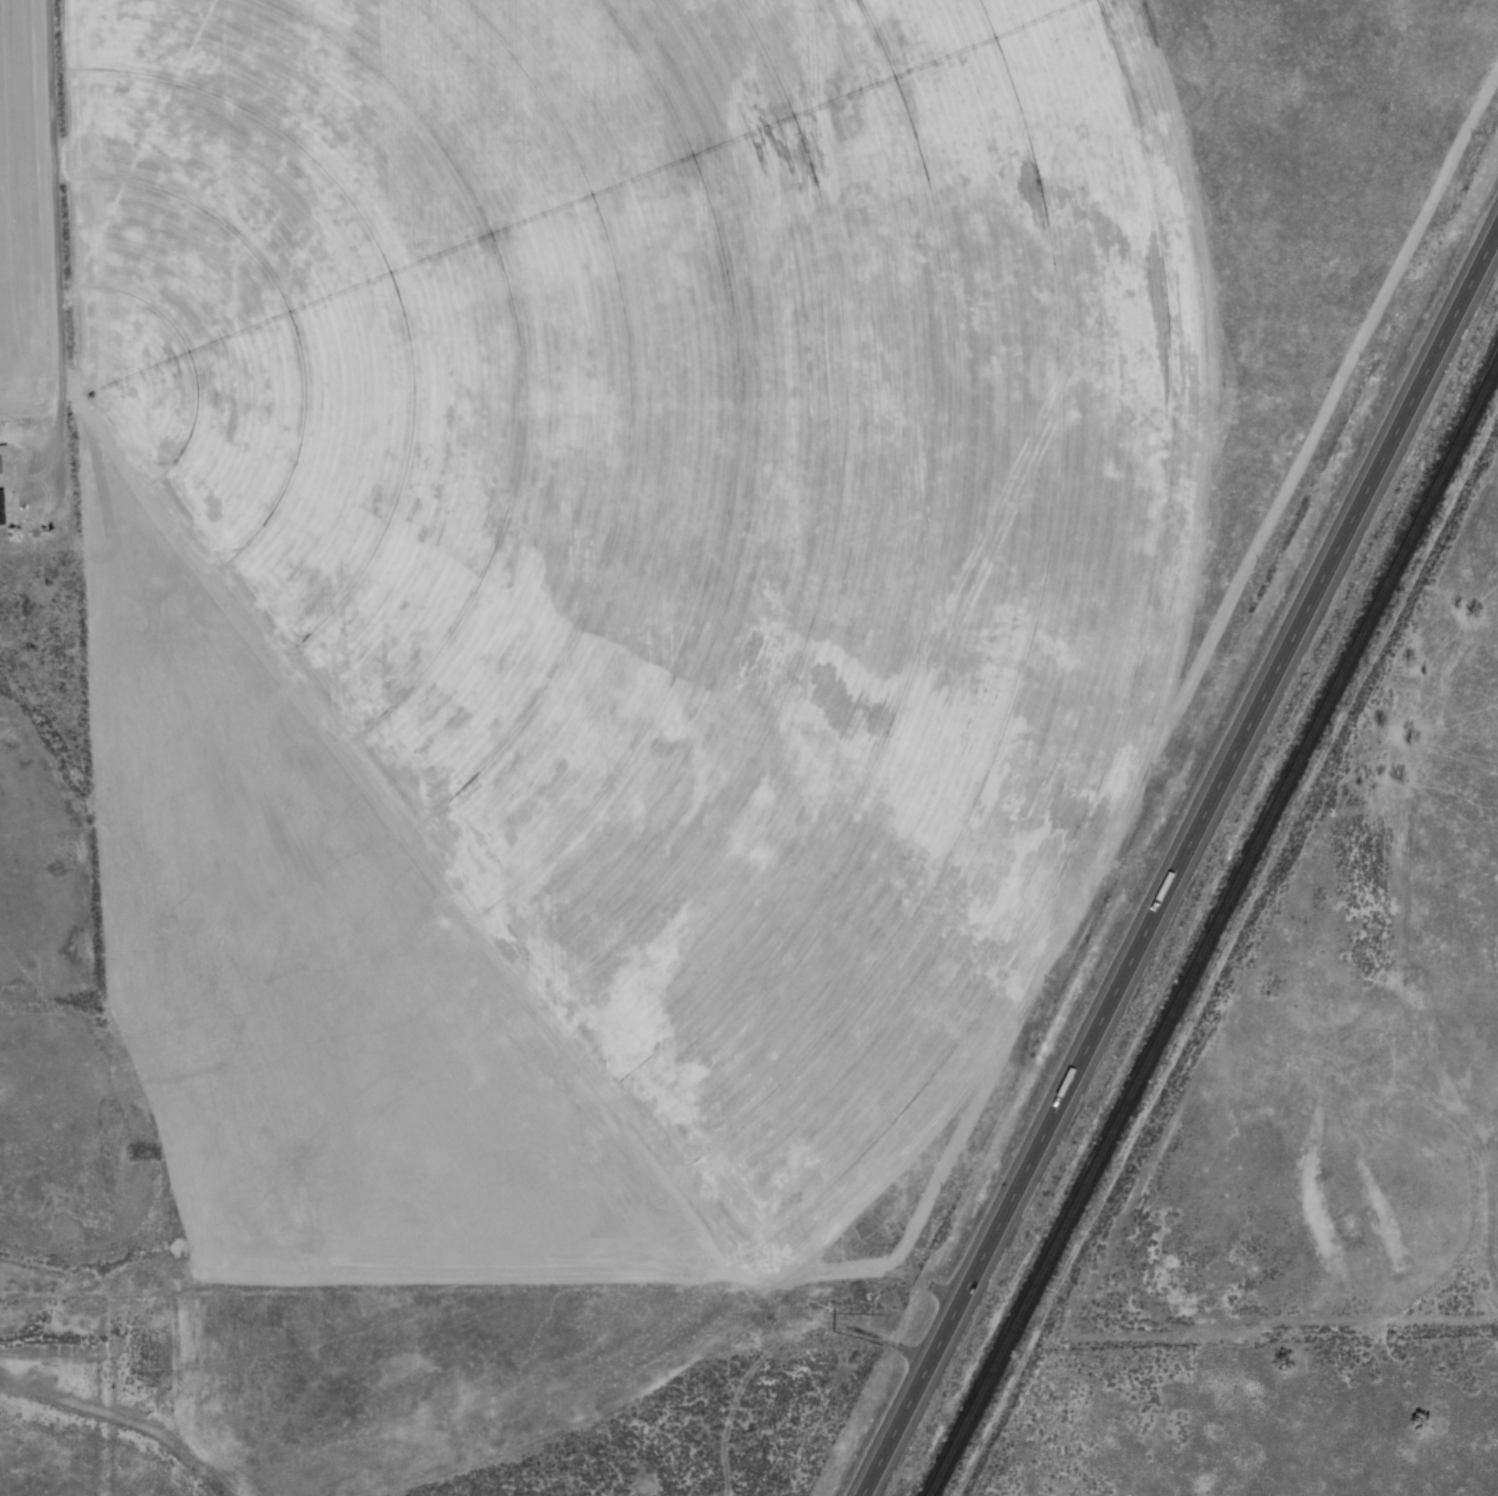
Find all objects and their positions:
road: (53, 255)
road: (1177, 856)
railway: (1213, 928)

